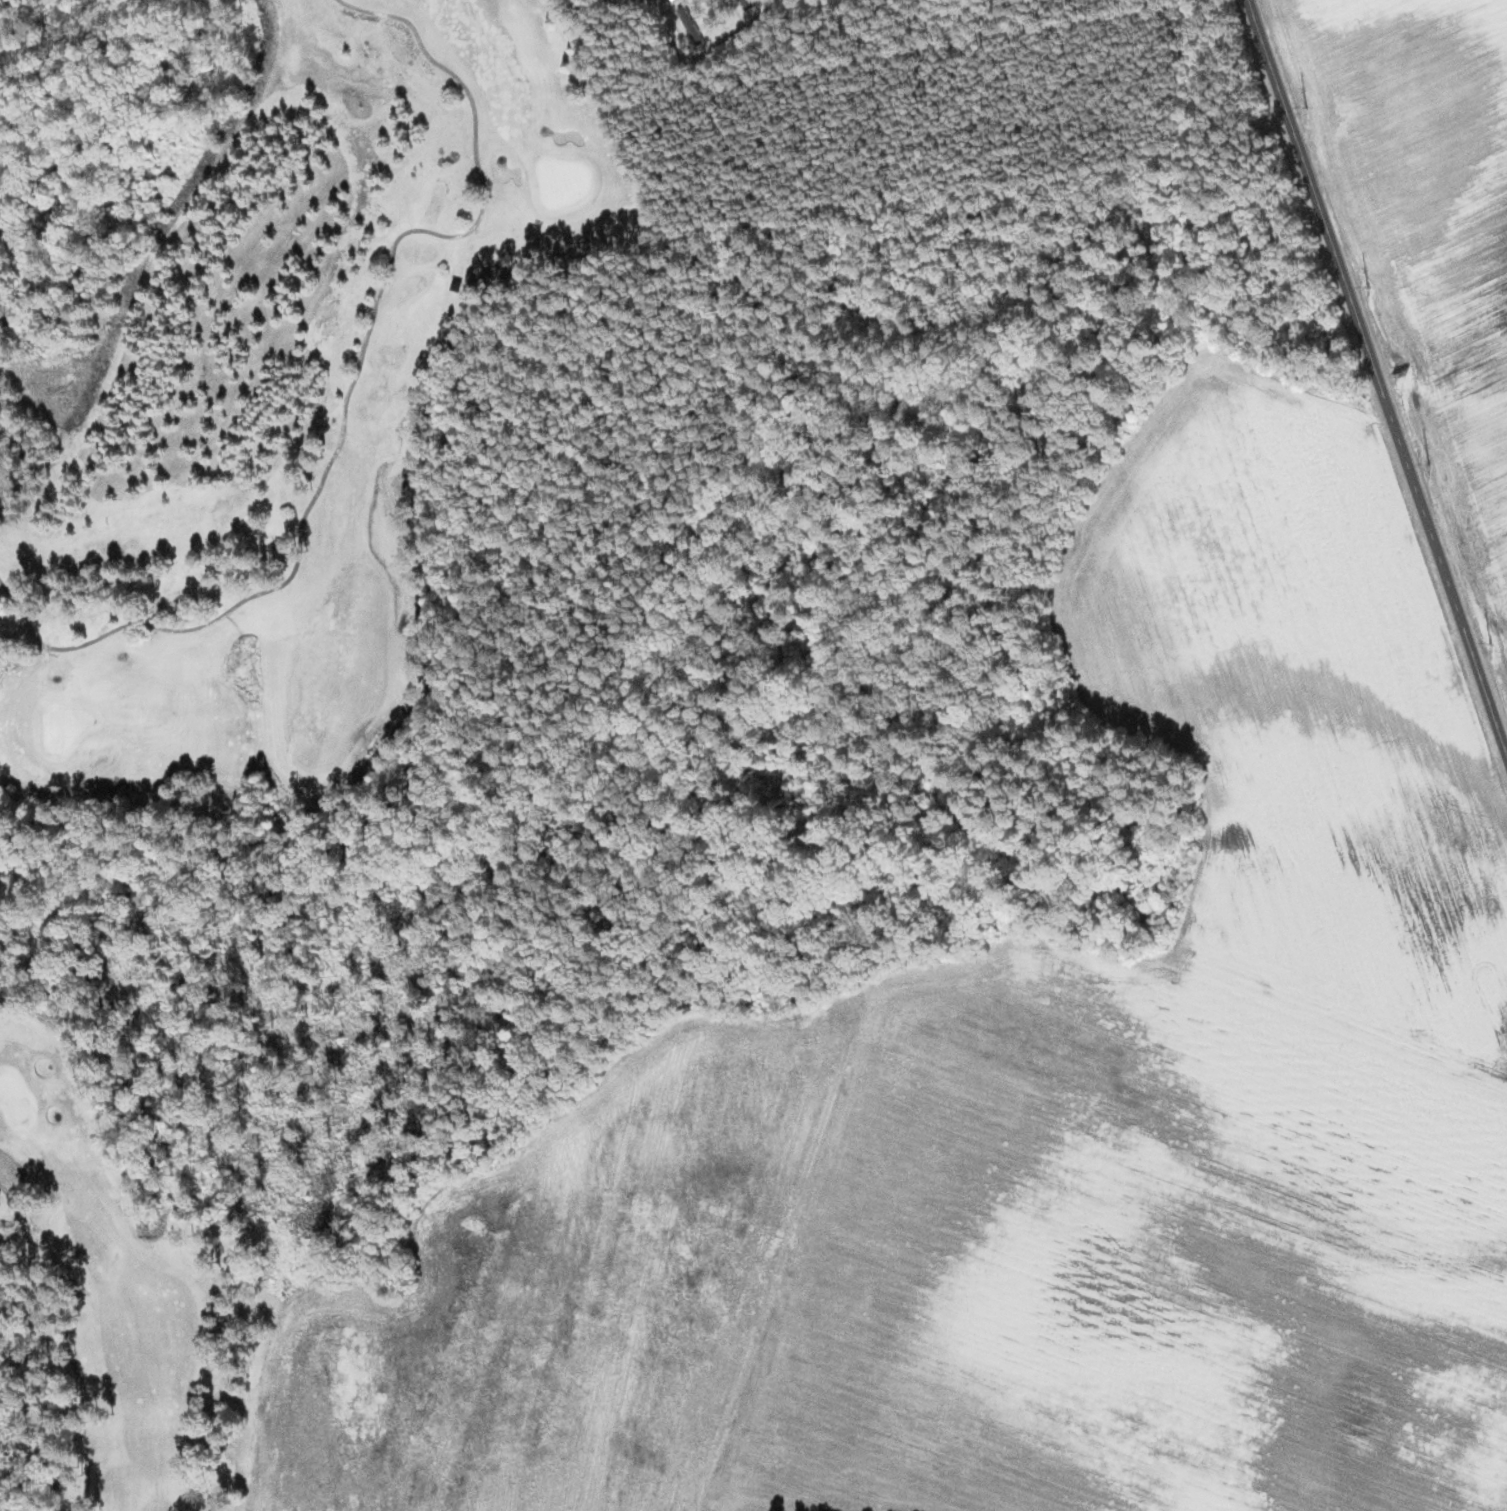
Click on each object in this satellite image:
building: (749, 4)
building: (691, 21)
road: (1377, 379)
park: (222, 553)

